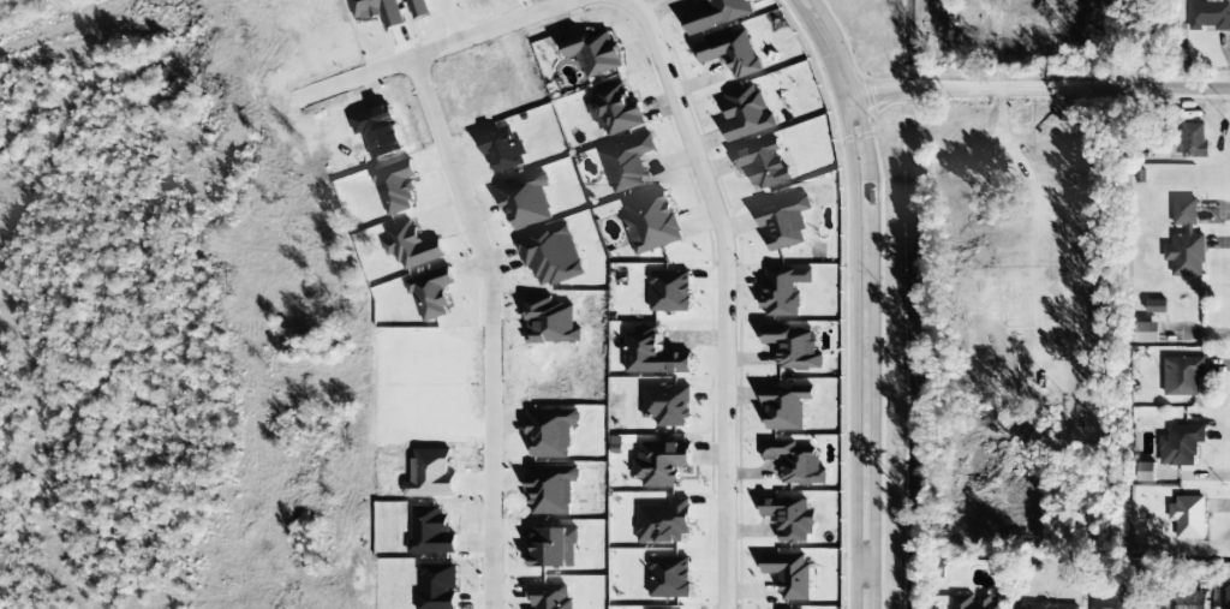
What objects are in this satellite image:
building: (718, 14)
building: (1208, 14)
road: (431, 46)
building: (593, 53)
building: (730, 53)
road: (1039, 89)
building: (615, 111)
building: (746, 113)
building: (1192, 141)
building: (627, 163)
building: (763, 163)
building: (395, 186)
building: (525, 202)
building: (651, 222)
building: (783, 222)
building: (1184, 241)
building: (783, 291)
building: (669, 292)
road: (728, 293)
road: (864, 298)
road: (491, 324)
building: (1146, 332)
building: (792, 347)
building: (1182, 376)
building: (665, 405)
building: (784, 405)
building: (615, 446)
building: (1180, 446)
building: (794, 462)
building: (661, 464)
building: (1144, 472)
building: (1188, 517)
building: (789, 519)
building: (663, 523)
building: (788, 575)
building: (668, 577)
building: (1224, 595)
building: (977, 601)
building: (1189, 601)
building: (1111, 602)
building: (1051, 605)

